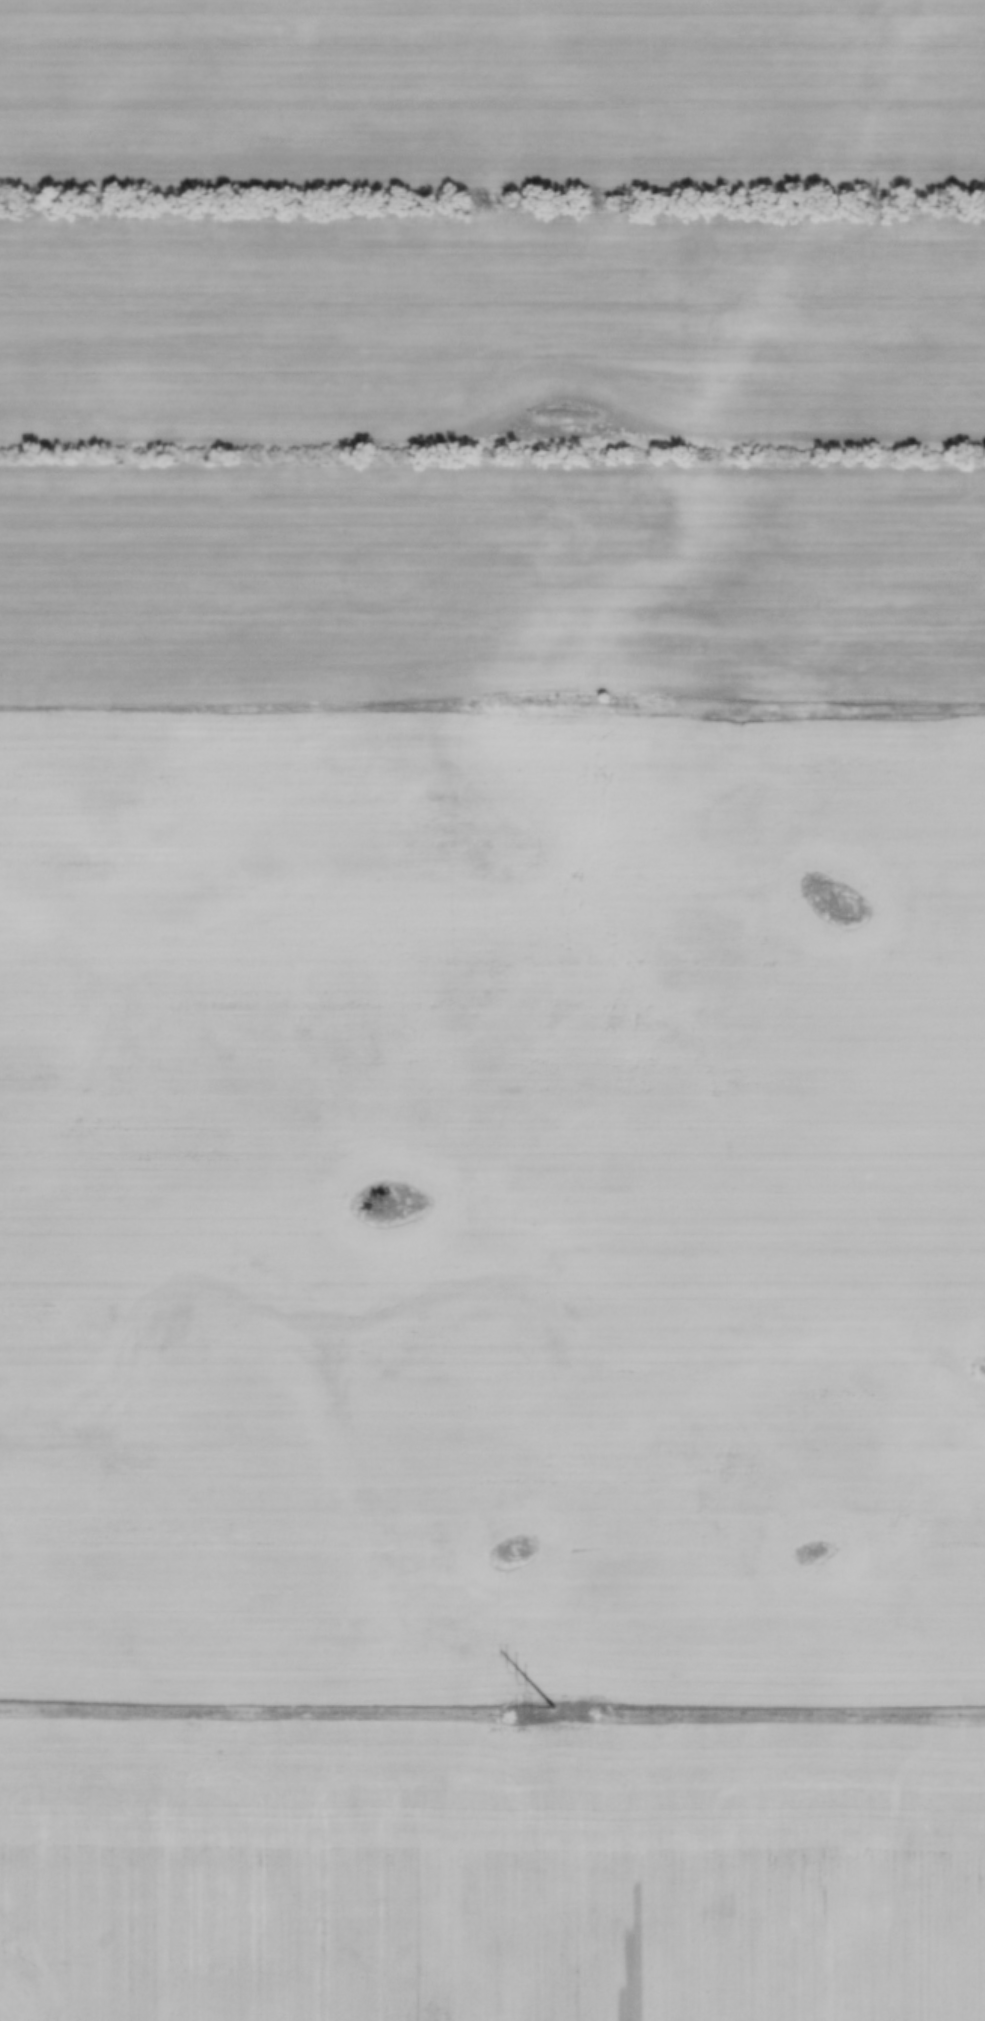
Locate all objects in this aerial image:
power tower: (552, 1705)

